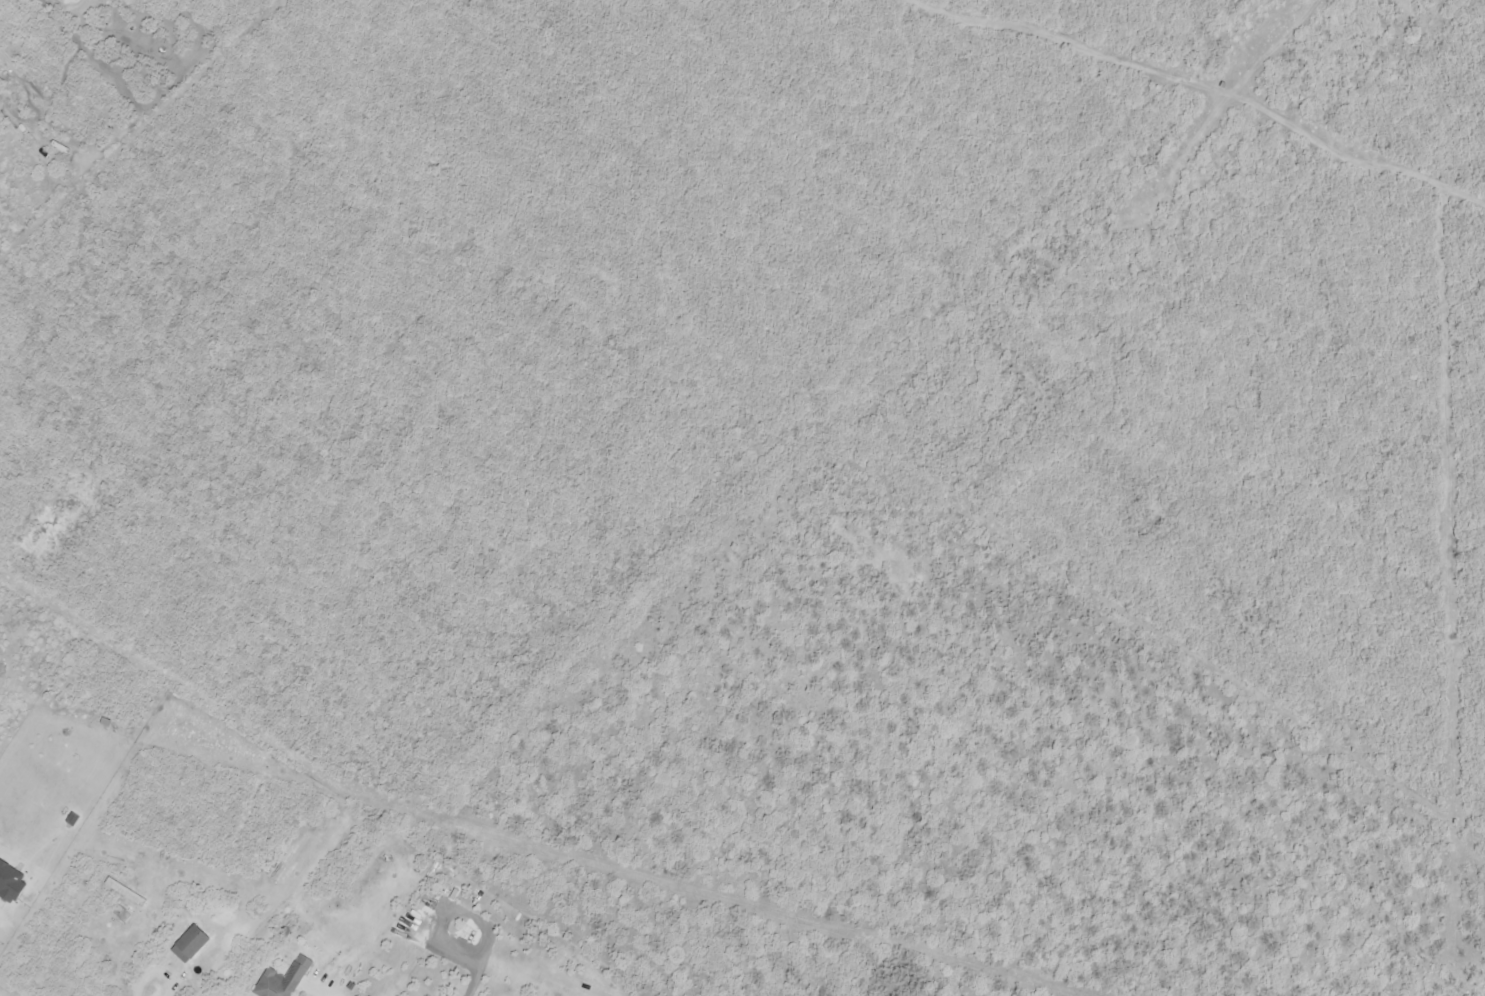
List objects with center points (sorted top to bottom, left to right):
building: (191, 943)
building: (280, 983)

